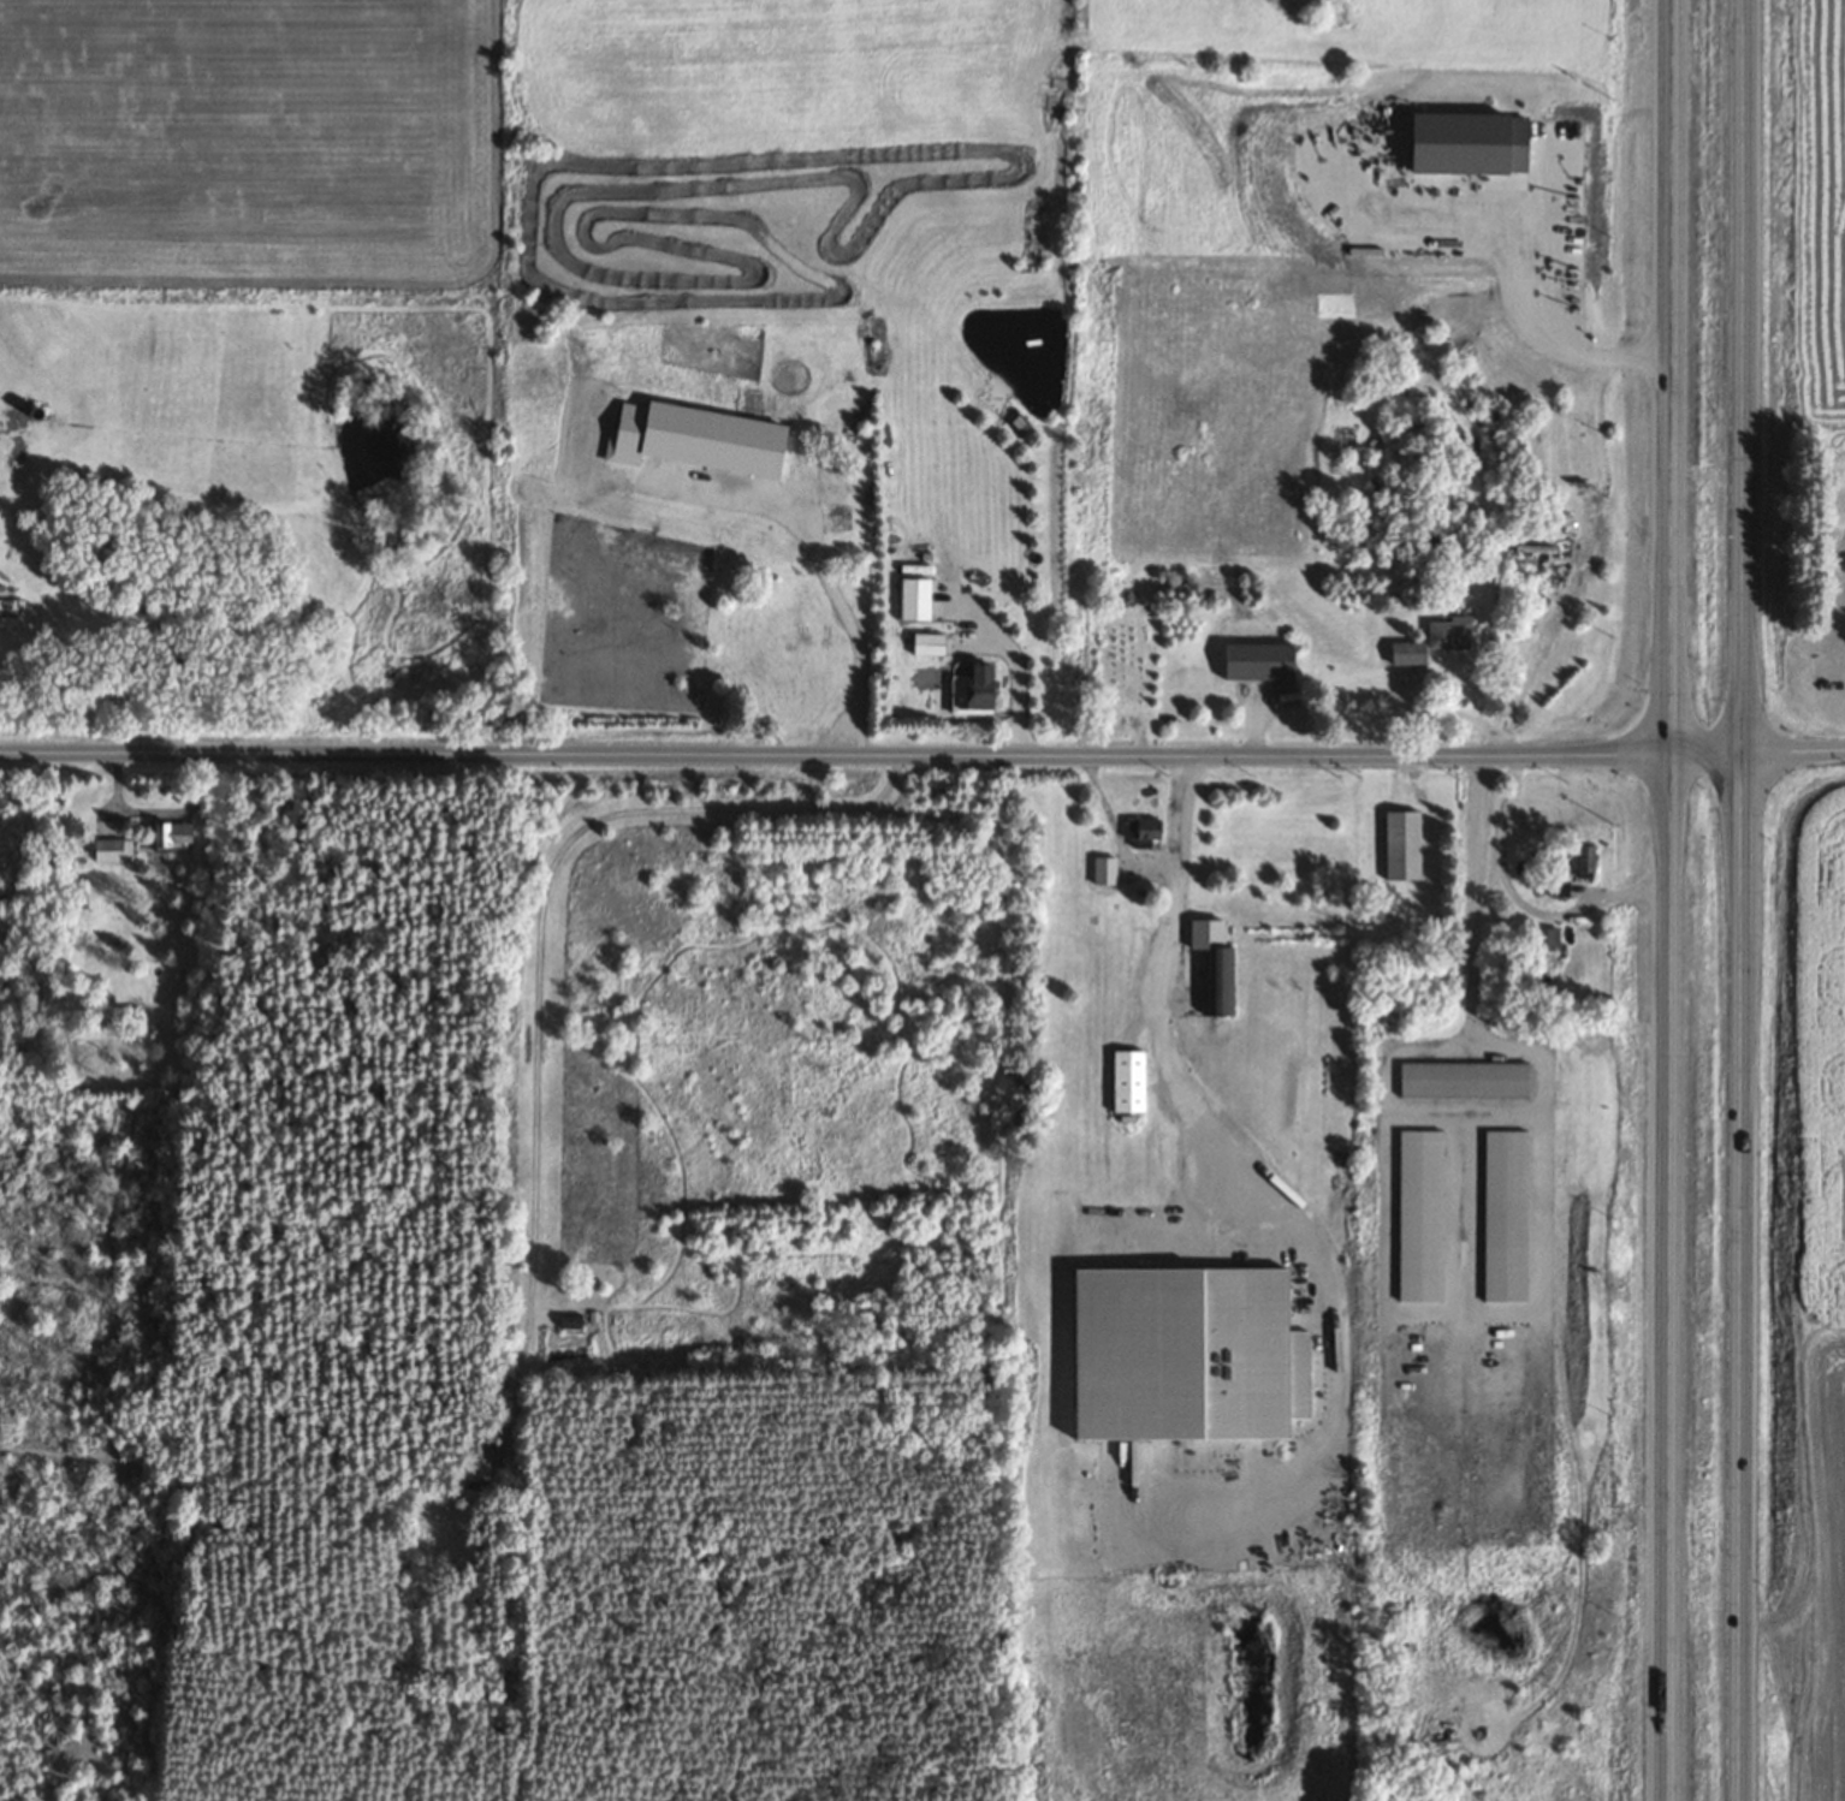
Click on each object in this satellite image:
building: (751, 436)
building: (837, 515)
building: (912, 598)
building: (8, 612)
building: (1446, 631)
building: (927, 642)
building: (1406, 652)
building: (1258, 661)
building: (971, 690)
building: (805, 707)
road: (922, 756)
building: (1141, 831)
building: (170, 833)
building: (1400, 844)
building: (112, 849)
building: (1583, 857)
building: (1103, 869)
road: (1669, 900)
road: (1742, 900)
building: (1546, 937)
building: (1542, 962)
building: (1214, 964)
building: (1461, 1078)
building: (1127, 1081)
building: (568, 1321)
building: (475, 1461)

